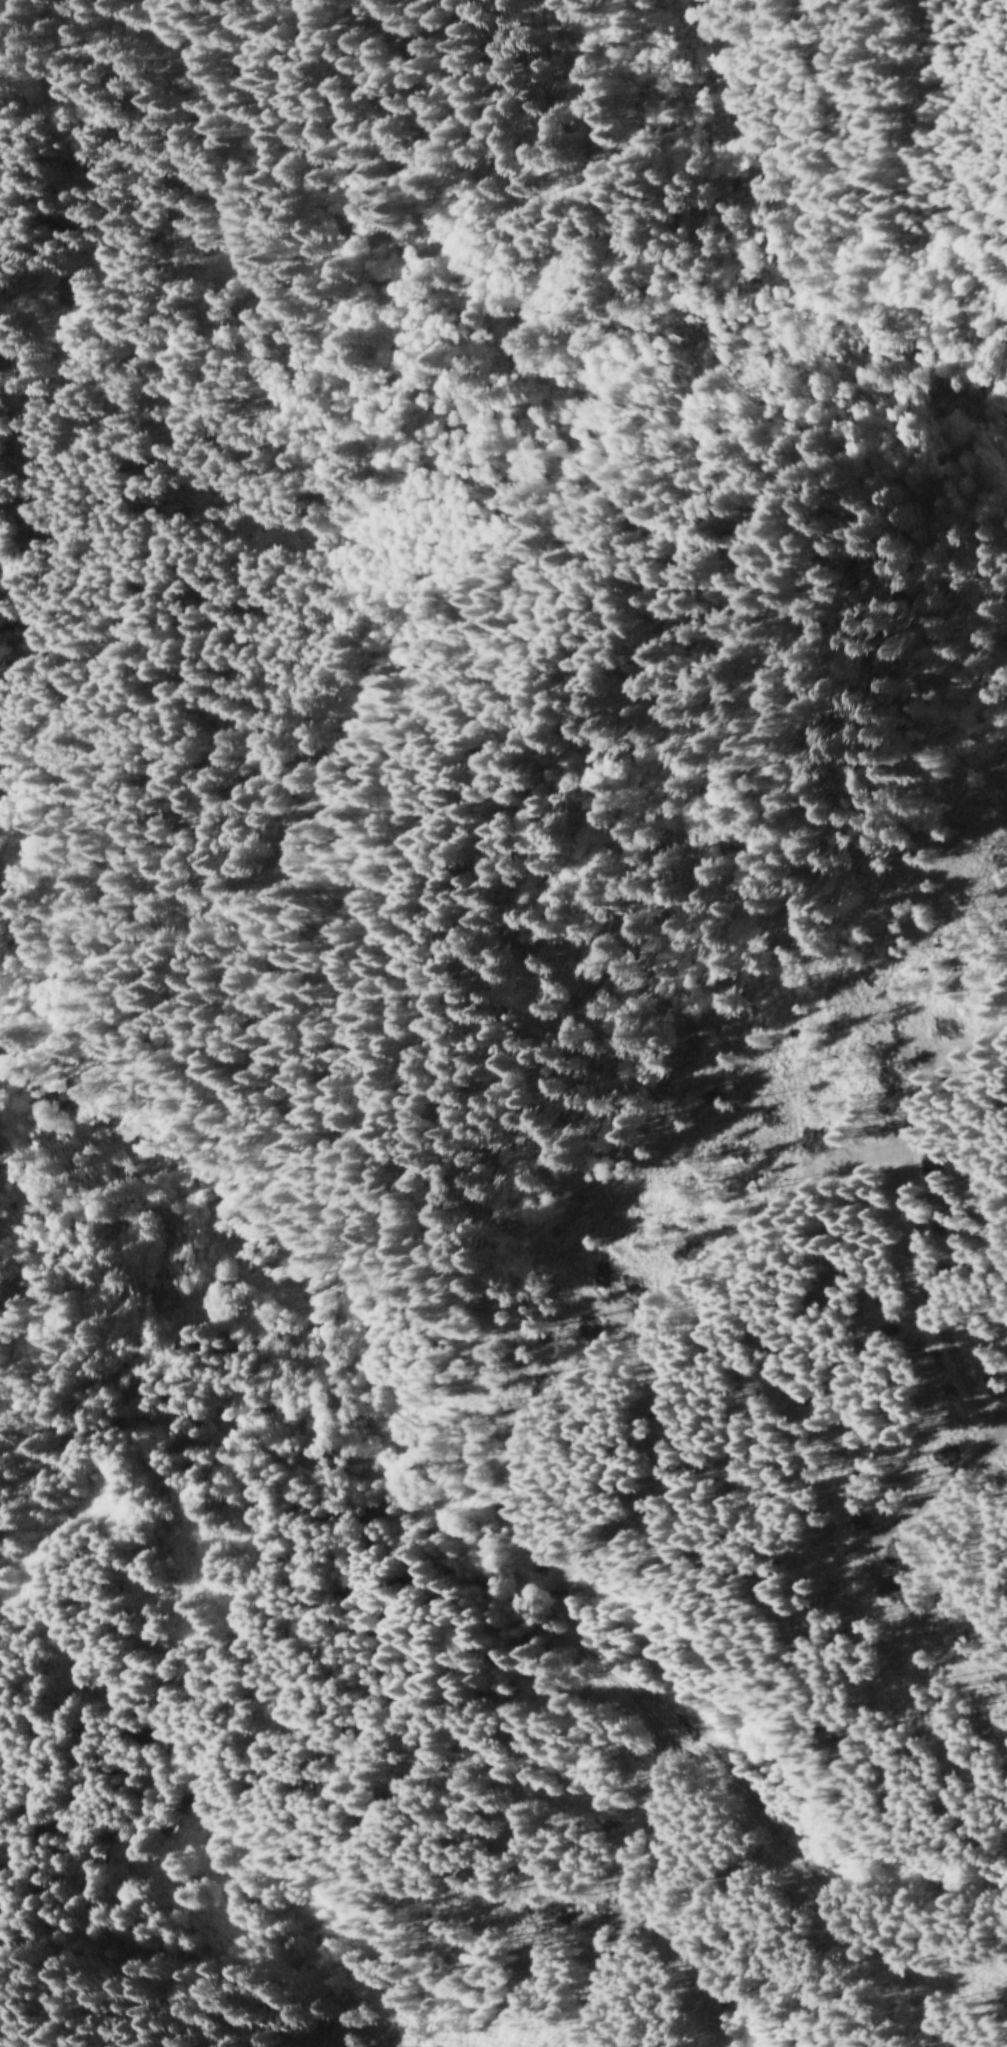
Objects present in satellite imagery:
road: (488, 1506)

